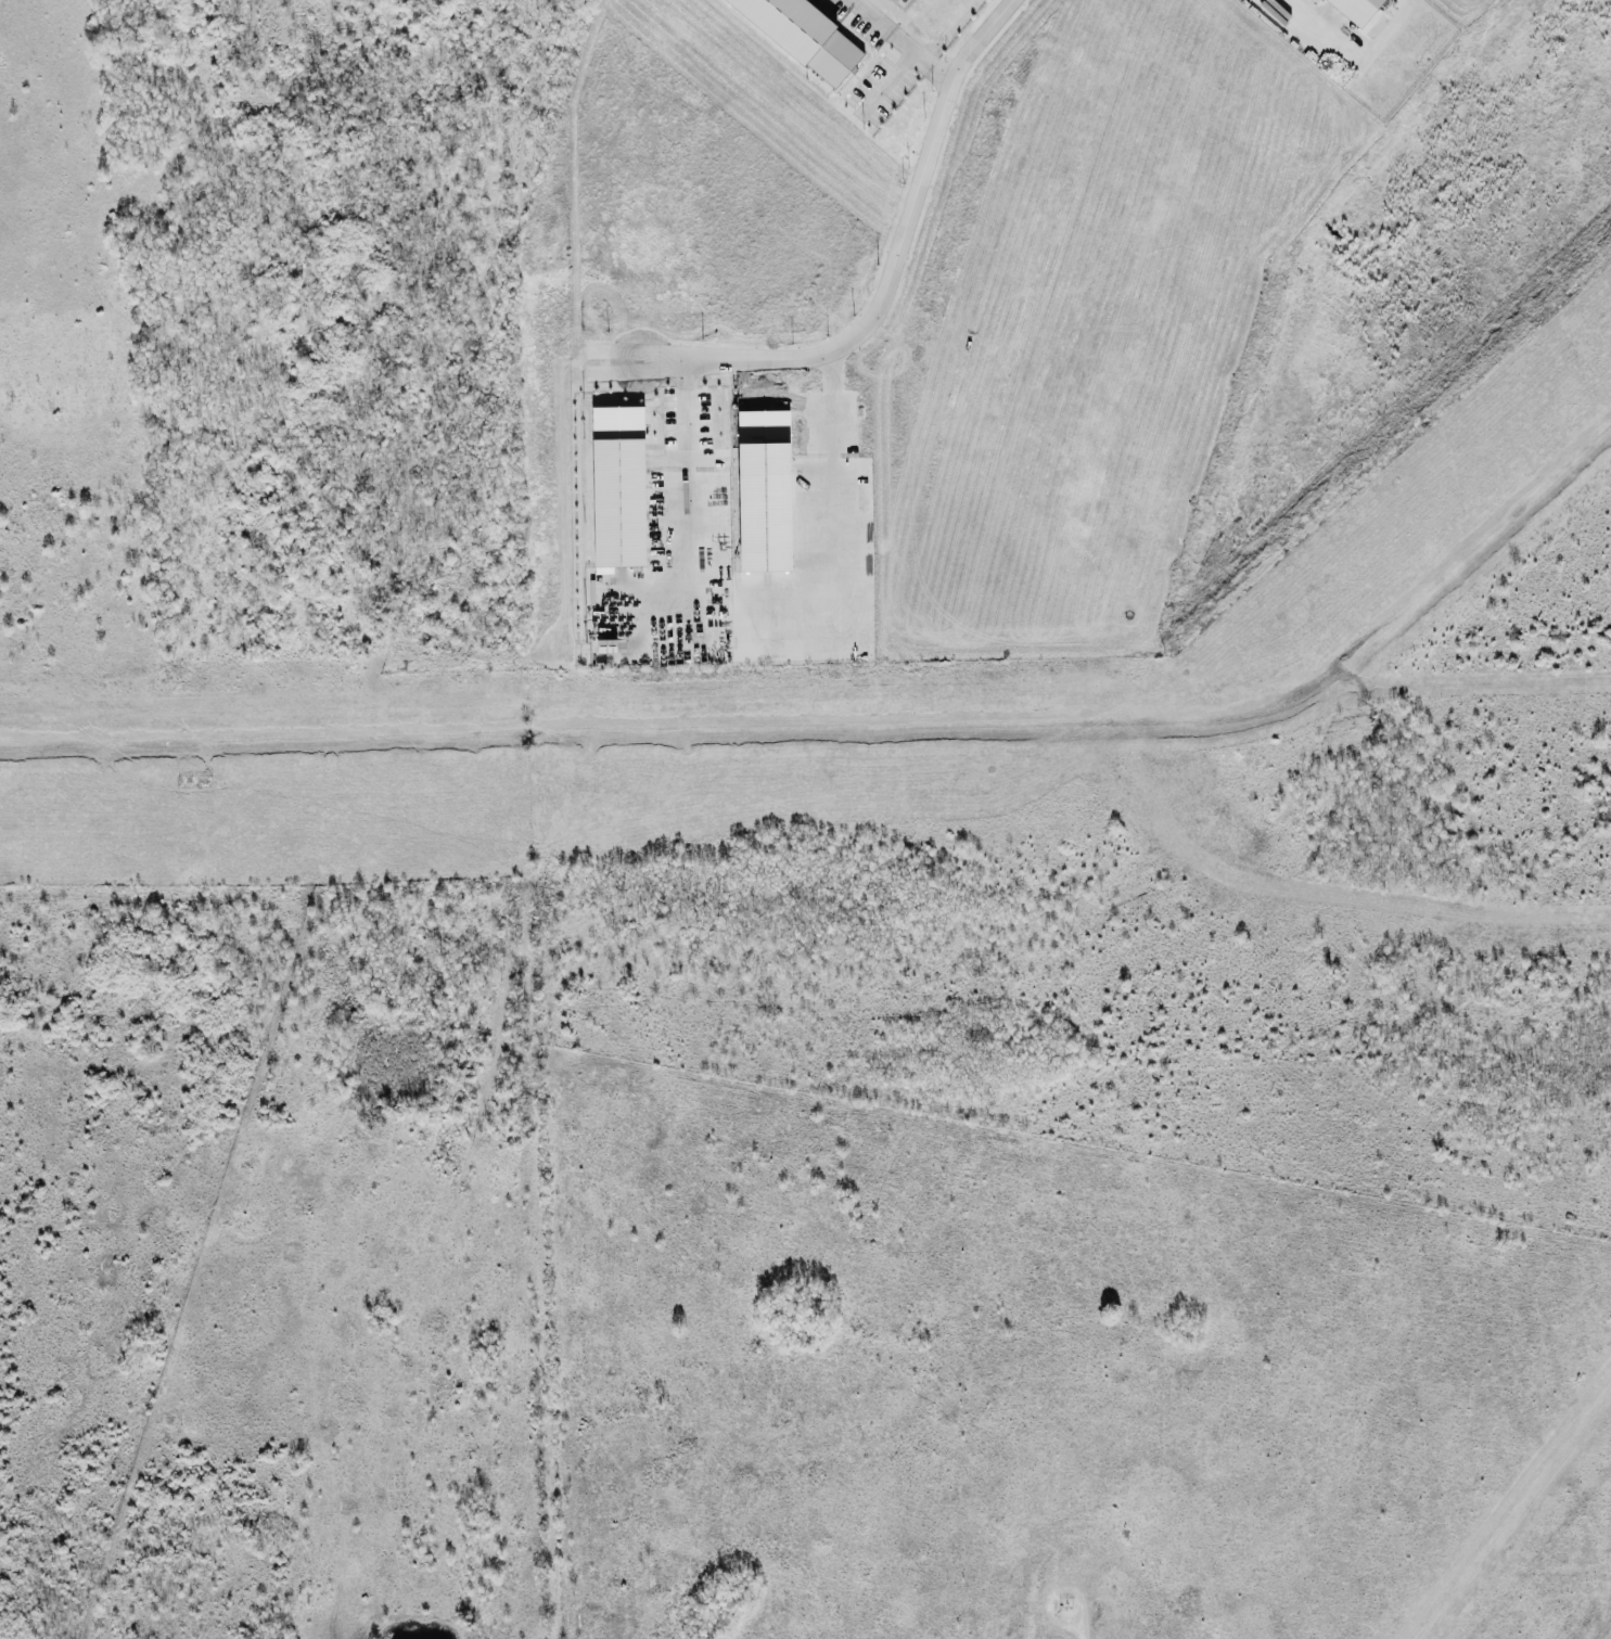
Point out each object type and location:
building: (1358, 8)
road: (1312, 15)
building: (807, 35)
road: (897, 41)
road: (897, 248)
road: (689, 410)
building: (619, 485)
road: (1078, 1624)

